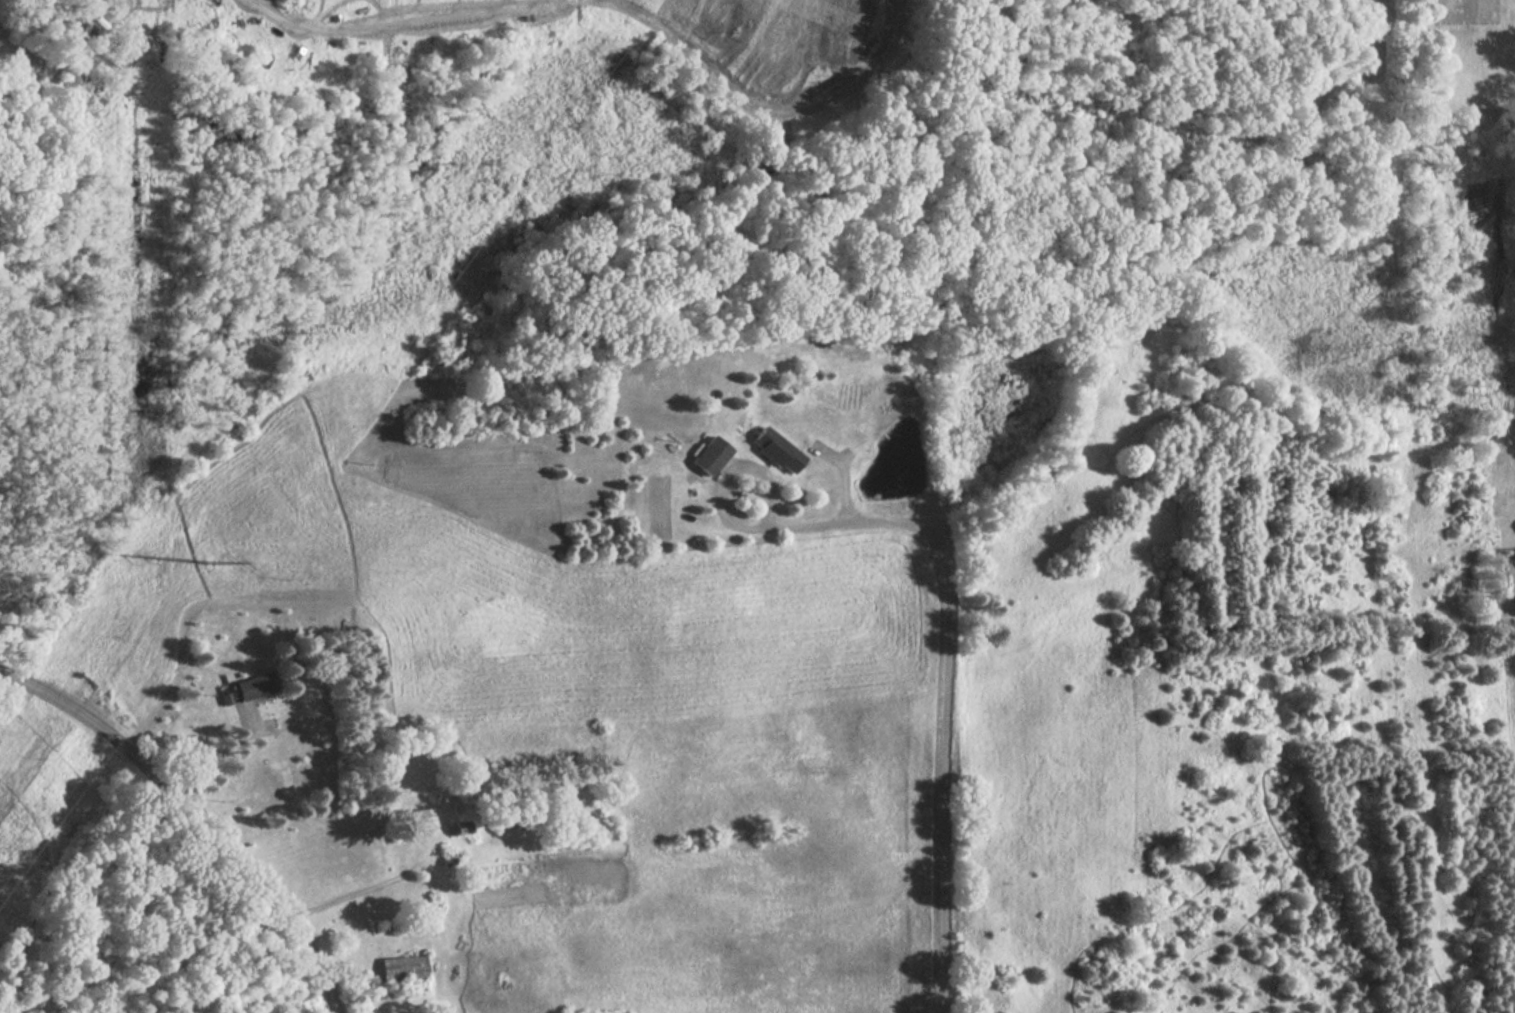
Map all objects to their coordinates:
building: (772, 451)
building: (708, 457)
road: (724, 484)
power tower: (219, 562)
building: (255, 686)
road: (942, 693)
road: (220, 751)
road: (198, 814)
building: (416, 819)
road: (370, 889)
park: (118, 891)
road: (45, 892)
building: (401, 968)

